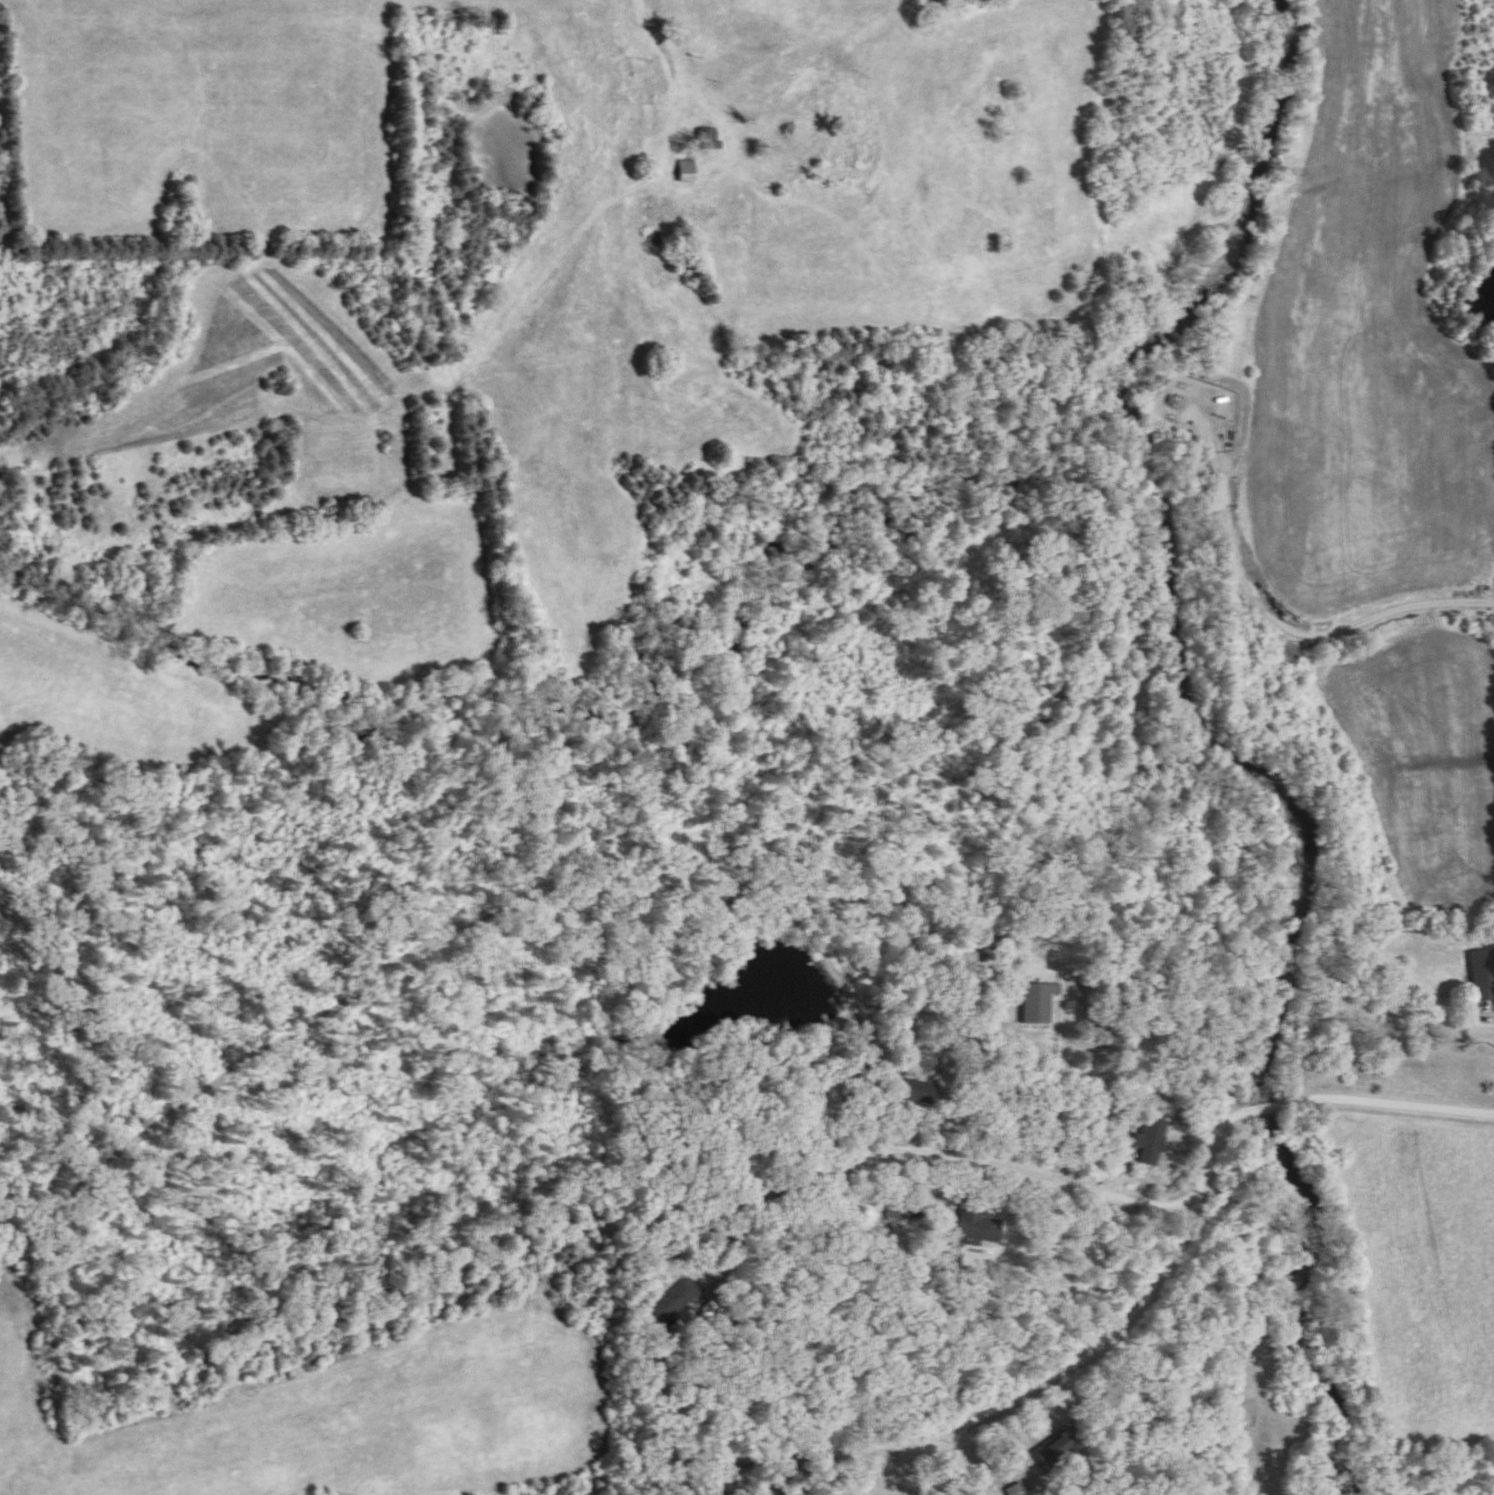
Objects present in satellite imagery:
building: (637, 73)
road: (501, 341)
road: (241, 425)
river: (1176, 536)
road: (1274, 620)
building: (1483, 976)
building: (1039, 1004)
building: (918, 1094)
road: (1319, 1101)
river: (1268, 1107)
building: (1152, 1144)
road: (965, 1163)
building: (975, 1225)
building: (713, 1256)
river: (1342, 1303)
road: (1039, 1391)
building: (1057, 1451)
road: (972, 1460)

